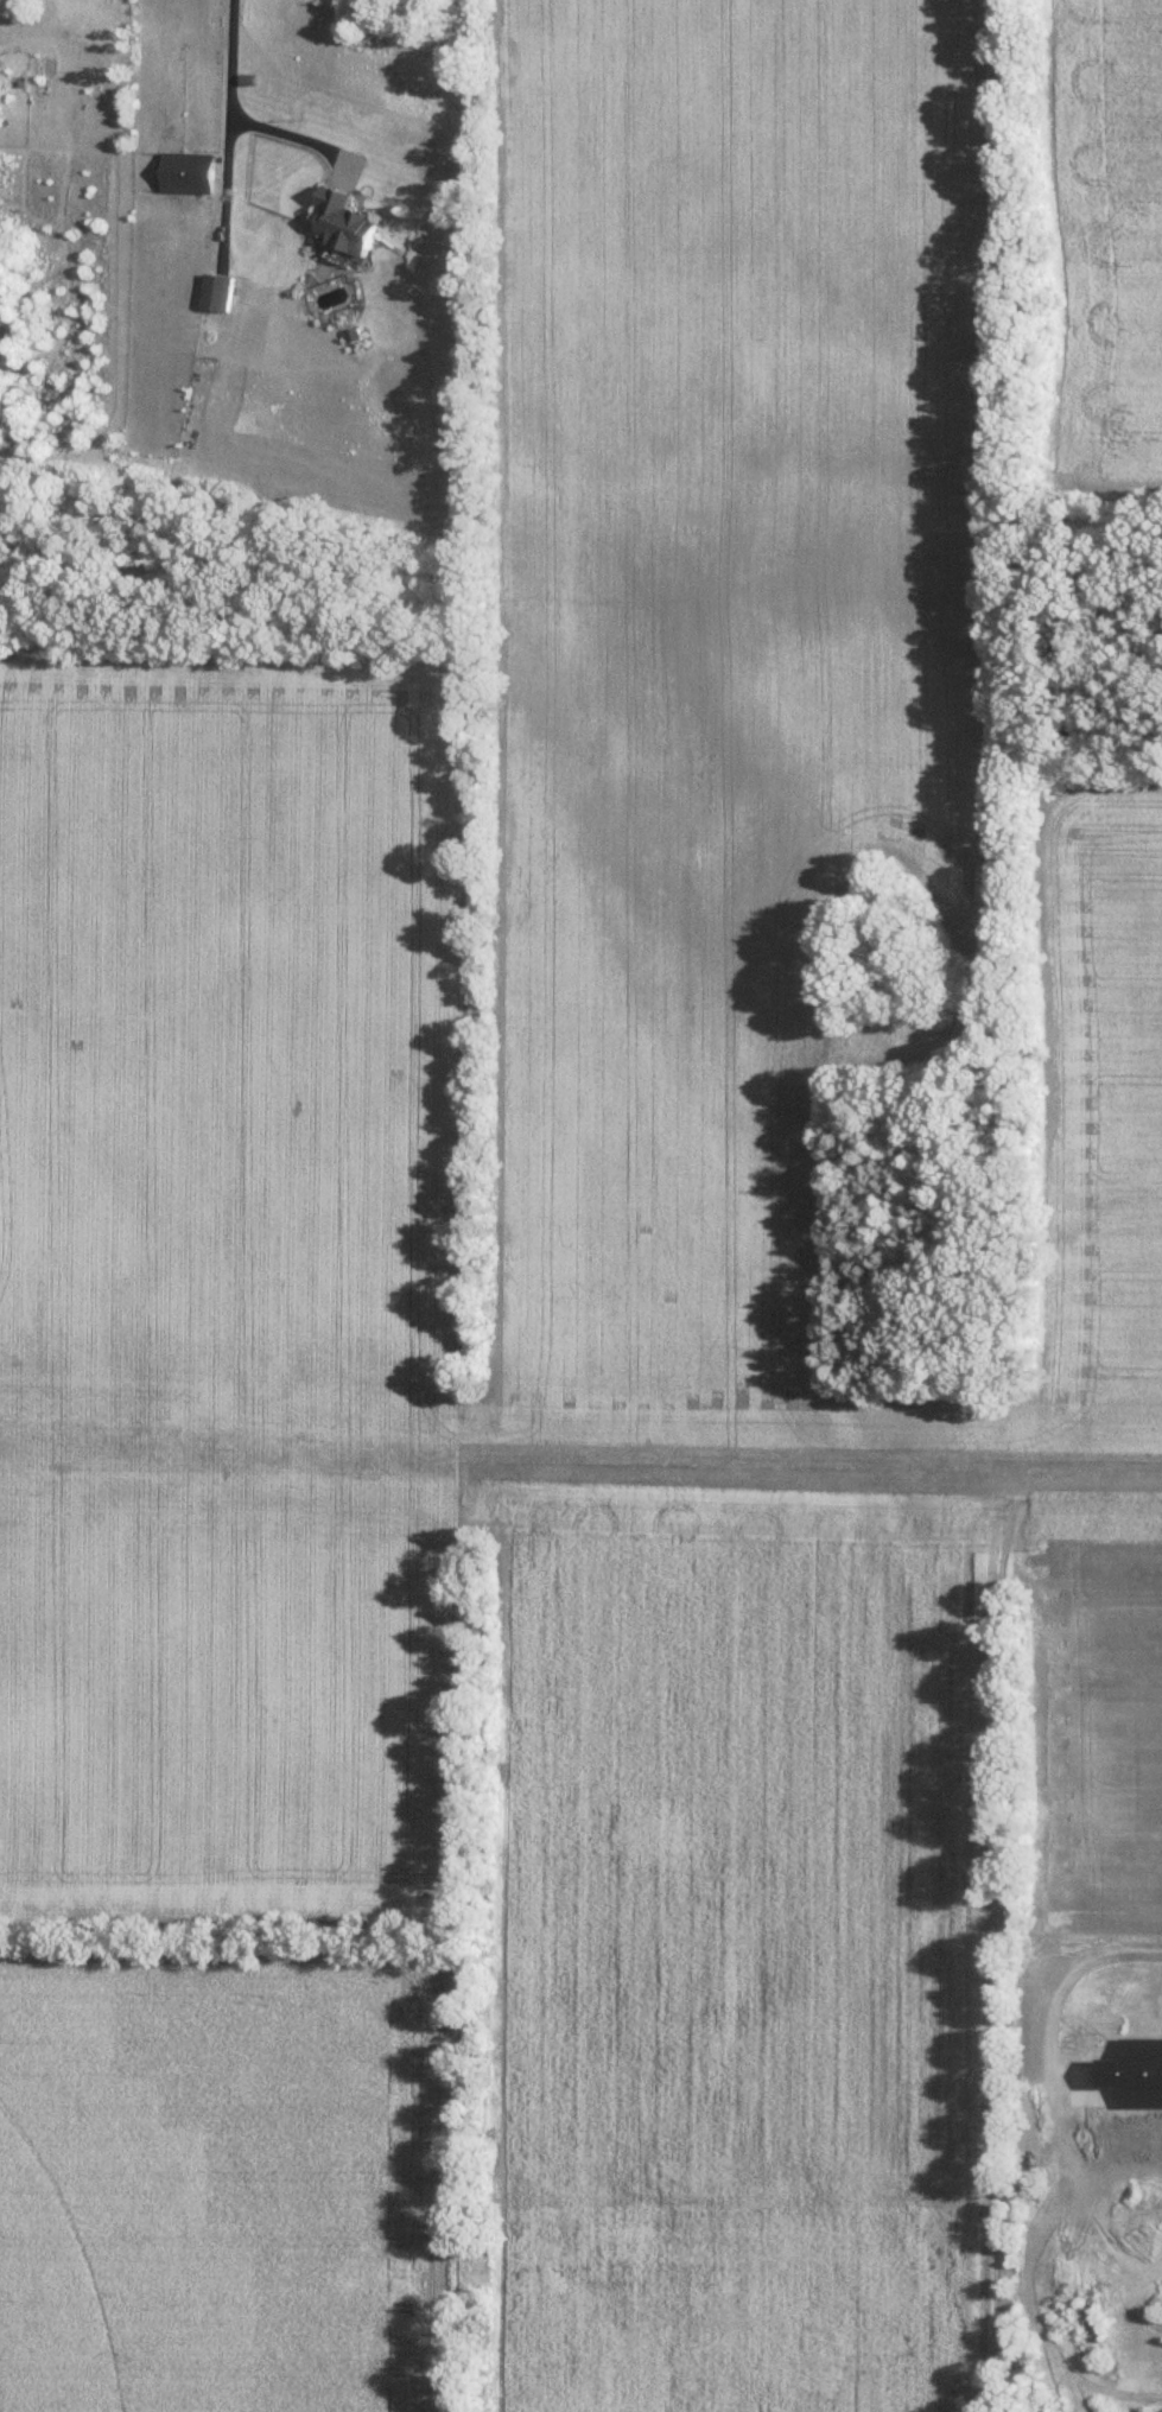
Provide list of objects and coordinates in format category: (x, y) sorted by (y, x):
road: (224, 104)
building: (184, 170)
building: (343, 220)
building: (214, 290)
crop: (754, 705)
crop: (770, 750)
crop: (212, 1056)
airport runway: (580, 1453)
crop: (256, 1707)
crop: (1093, 1714)
crop: (772, 1947)
crop: (230, 2172)

